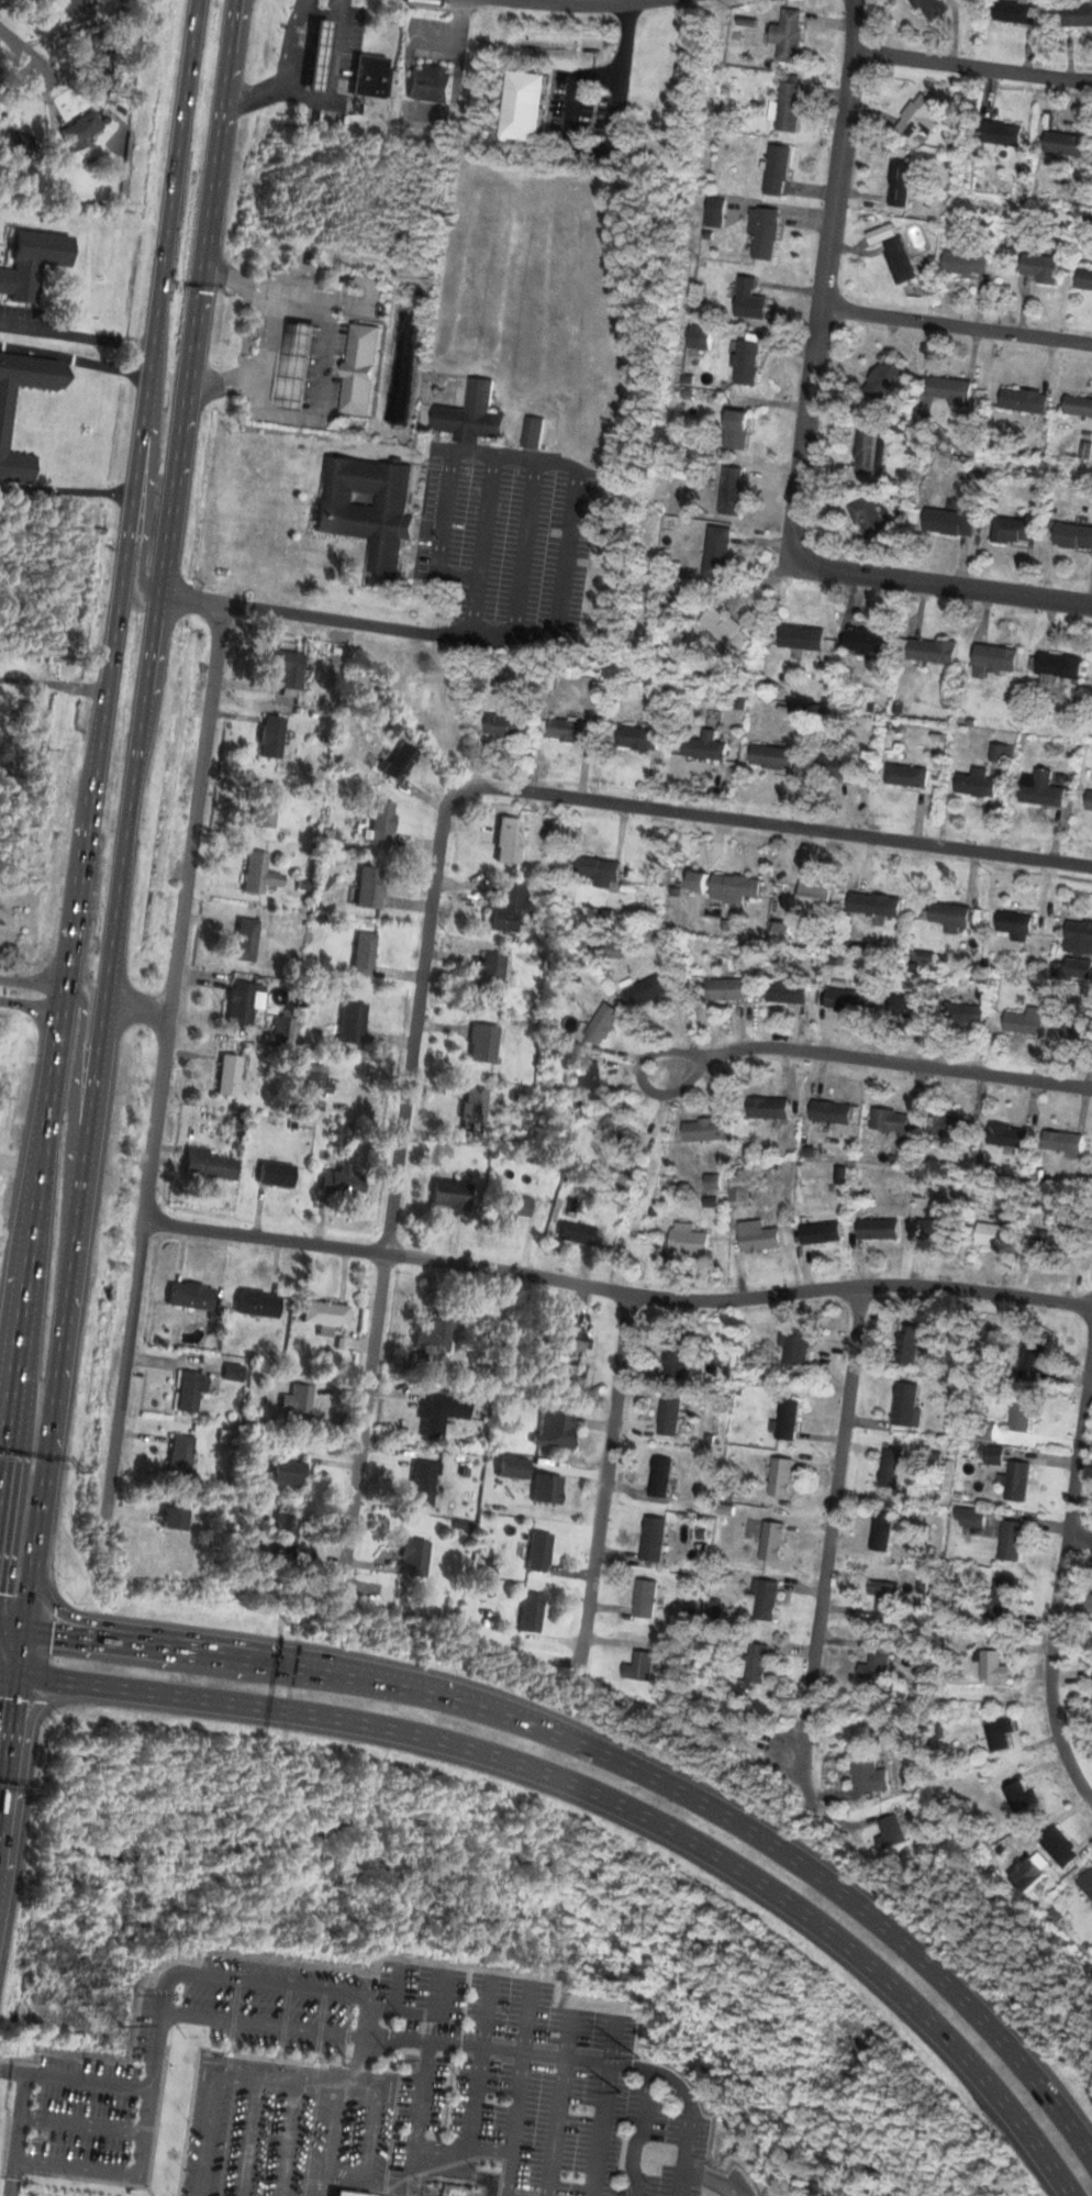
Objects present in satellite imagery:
road: (588, 4)
building: (931, 9)
building: (75, 10)
building: (1014, 11)
road: (321, 13)
building: (1077, 15)
building: (792, 35)
road: (455, 42)
road: (15, 47)
building: (320, 53)
building: (98, 55)
building: (344, 67)
road: (972, 67)
road: (287, 73)
building: (369, 75)
road: (333, 81)
building: (431, 84)
building: (531, 107)
building: (790, 107)
building: (920, 119)
building: (79, 130)
building: (1001, 135)
building: (1067, 145)
road: (609, 149)
building: (778, 170)
building: (902, 185)
building: (767, 234)
building: (883, 235)
building: (901, 262)
building: (32, 264)
building: (967, 264)
building: (1041, 268)
road: (303, 273)
road: (332, 276)
road: (232, 277)
road: (374, 279)
building: (1085, 279)
building: (331, 280)
road: (823, 280)
road: (276, 281)
road: (300, 298)
building: (750, 301)
road: (354, 306)
road: (956, 326)
road: (271, 331)
road: (76, 334)
building: (702, 340)
building: (748, 361)
building: (301, 367)
building: (364, 370)
building: (887, 380)
road: (224, 384)
building: (952, 387)
building: (1027, 401)
building: (1079, 407)
road: (323, 412)
building: (472, 415)
building: (4, 423)
building: (739, 429)
building: (533, 433)
building: (868, 450)
road: (148, 487)
building: (734, 492)
building: (369, 512)
road: (488, 518)
building: (869, 519)
building: (951, 524)
building: (1016, 532)
building: (1073, 534)
road: (528, 546)
road: (567, 552)
building: (718, 554)
road: (944, 586)
building: (727, 631)
building: (803, 639)
building: (870, 643)
building: (934, 652)
building: (993, 661)
building: (1057, 667)
building: (289, 670)
road: (53, 684)
building: (505, 727)
building: (577, 733)
building: (270, 737)
building: (639, 740)
road: (99, 745)
building: (706, 748)
building: (773, 758)
building: (399, 763)
building: (845, 769)
building: (909, 777)
building: (977, 784)
building: (1040, 789)
road: (542, 794)
building: (1088, 800)
building: (380, 824)
building: (509, 841)
building: (603, 868)
building: (258, 874)
building: (726, 887)
building: (369, 888)
road: (115, 901)
building: (816, 901)
building: (879, 906)
building: (508, 911)
building: (949, 916)
building: (1014, 924)
building: (1078, 931)
building: (245, 942)
building: (612, 952)
building: (363, 956)
building: (1077, 968)
building: (489, 978)
road: (33, 981)
building: (726, 991)
building: (789, 991)
building: (646, 992)
building: (846, 1001)
road: (32, 1003)
building: (239, 1006)
road: (136, 1008)
building: (904, 1008)
building: (962, 1016)
building: (1024, 1022)
building: (352, 1024)
building: (603, 1025)
road: (168, 1027)
building: (1078, 1027)
building: (482, 1044)
road: (871, 1058)
building: (227, 1076)
building: (315, 1083)
building: (592, 1083)
road: (74, 1093)
building: (769, 1110)
building: (833, 1110)
building: (472, 1112)
building: (890, 1121)
building: (947, 1127)
building: (622, 1131)
building: (704, 1132)
building: (1006, 1135)
building: (1061, 1142)
building: (208, 1165)
building: (276, 1176)
building: (342, 1183)
building: (713, 1186)
building: (449, 1196)
building: (516, 1208)
building: (935, 1228)
building: (872, 1230)
building: (579, 1232)
building: (820, 1233)
building: (994, 1234)
building: (758, 1238)
building: (689, 1242)
road: (616, 1290)
building: (190, 1296)
building: (257, 1306)
building: (324, 1316)
building: (434, 1337)
building: (570, 1341)
building: (907, 1343)
building: (795, 1345)
building: (677, 1356)
building: (1030, 1360)
building: (189, 1391)
building: (904, 1404)
building: (298, 1406)
building: (441, 1415)
building: (1021, 1416)
building: (669, 1418)
building: (785, 1423)
building: (551, 1430)
road: (360, 1439)
building: (993, 1454)
building: (180, 1456)
building: (889, 1467)
building: (288, 1474)
building: (779, 1476)
building: (660, 1478)
building: (1016, 1480)
building: (422, 1485)
building: (544, 1491)
road: (601, 1493)
building: (175, 1517)
building: (880, 1530)
building: (283, 1535)
road: (1079, 1535)
building: (654, 1539)
building: (1011, 1539)
building: (771, 1541)
building: (538, 1552)
building: (413, 1557)
road: (823, 1573)
road: (1060, 1575)
building: (883, 1595)
building: (646, 1599)
building: (765, 1600)
building: (1002, 1600)
building: (530, 1612)
road: (11, 1622)
traffic signals: (54, 1630)
building: (755, 1664)
building: (874, 1666)
building: (992, 1666)
building: (639, 1667)
road: (9, 1672)
traffic signals: (14, 1699)
building: (998, 1733)
road: (622, 1761)
building: (863, 1773)
building: (1017, 1795)
road: (614, 1800)
building: (888, 1833)
building: (1057, 1845)
building: (1085, 1883)
road: (234, 1979)
power tower: (137, 1994)
power tower: (402, 2019)
power tower: (122, 2026)
power tower: (638, 2056)
power tower: (393, 2059)
road: (591, 2063)
power tower: (617, 2089)
road: (85, 2122)
road: (19, 2134)
road: (121, 2173)
building: (347, 2194)

